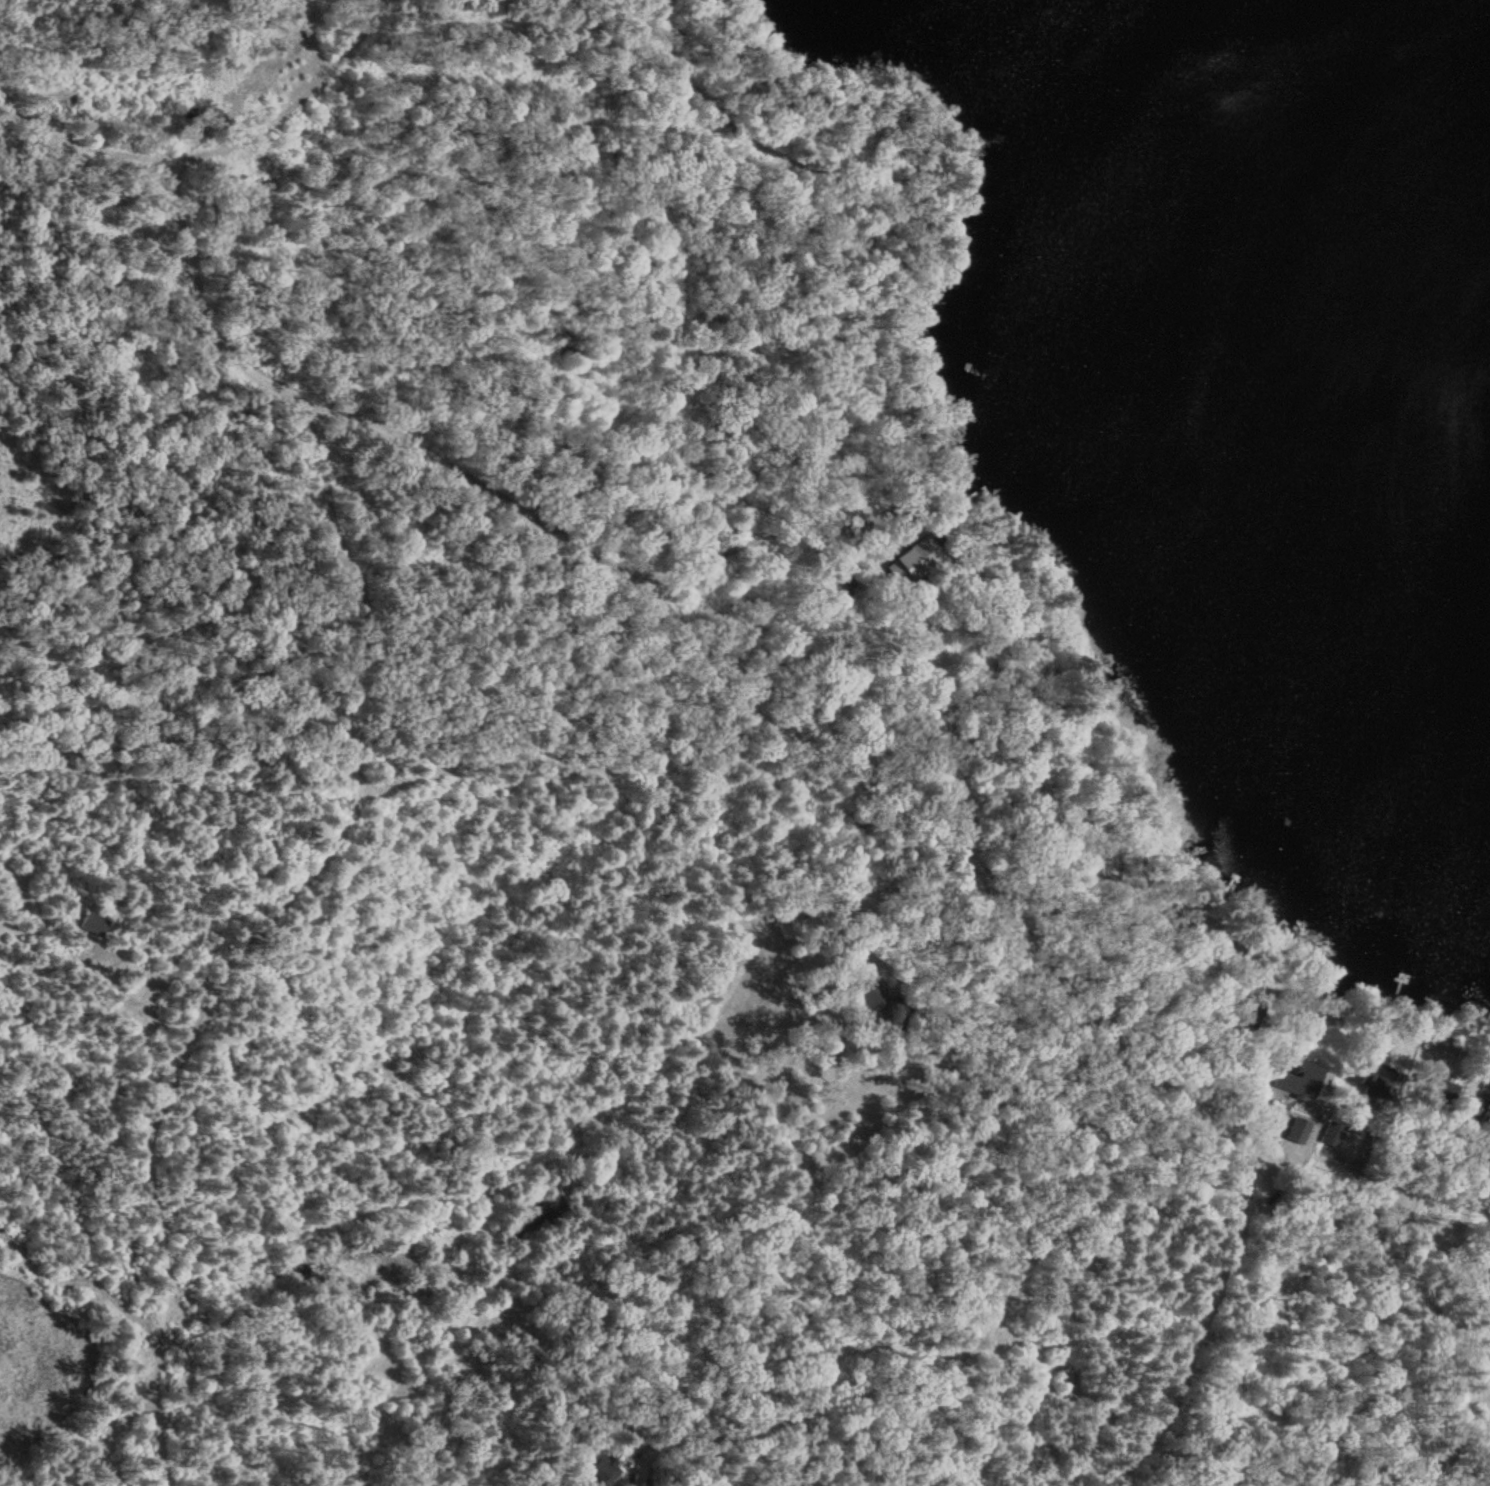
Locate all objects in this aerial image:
building: (62, 101)
road: (221, 157)
building: (267, 187)
road: (183, 239)
road: (423, 452)
building: (911, 563)
road: (607, 772)
road: (904, 838)
building: (795, 923)
building: (93, 925)
building: (869, 995)
building: (1300, 1083)
building: (1377, 1084)
building: (1481, 1110)
building: (1299, 1133)
road: (1237, 1151)
road: (1164, 1169)
road: (1189, 1357)
building: (1486, 1366)
road: (933, 1375)
building: (595, 1469)

